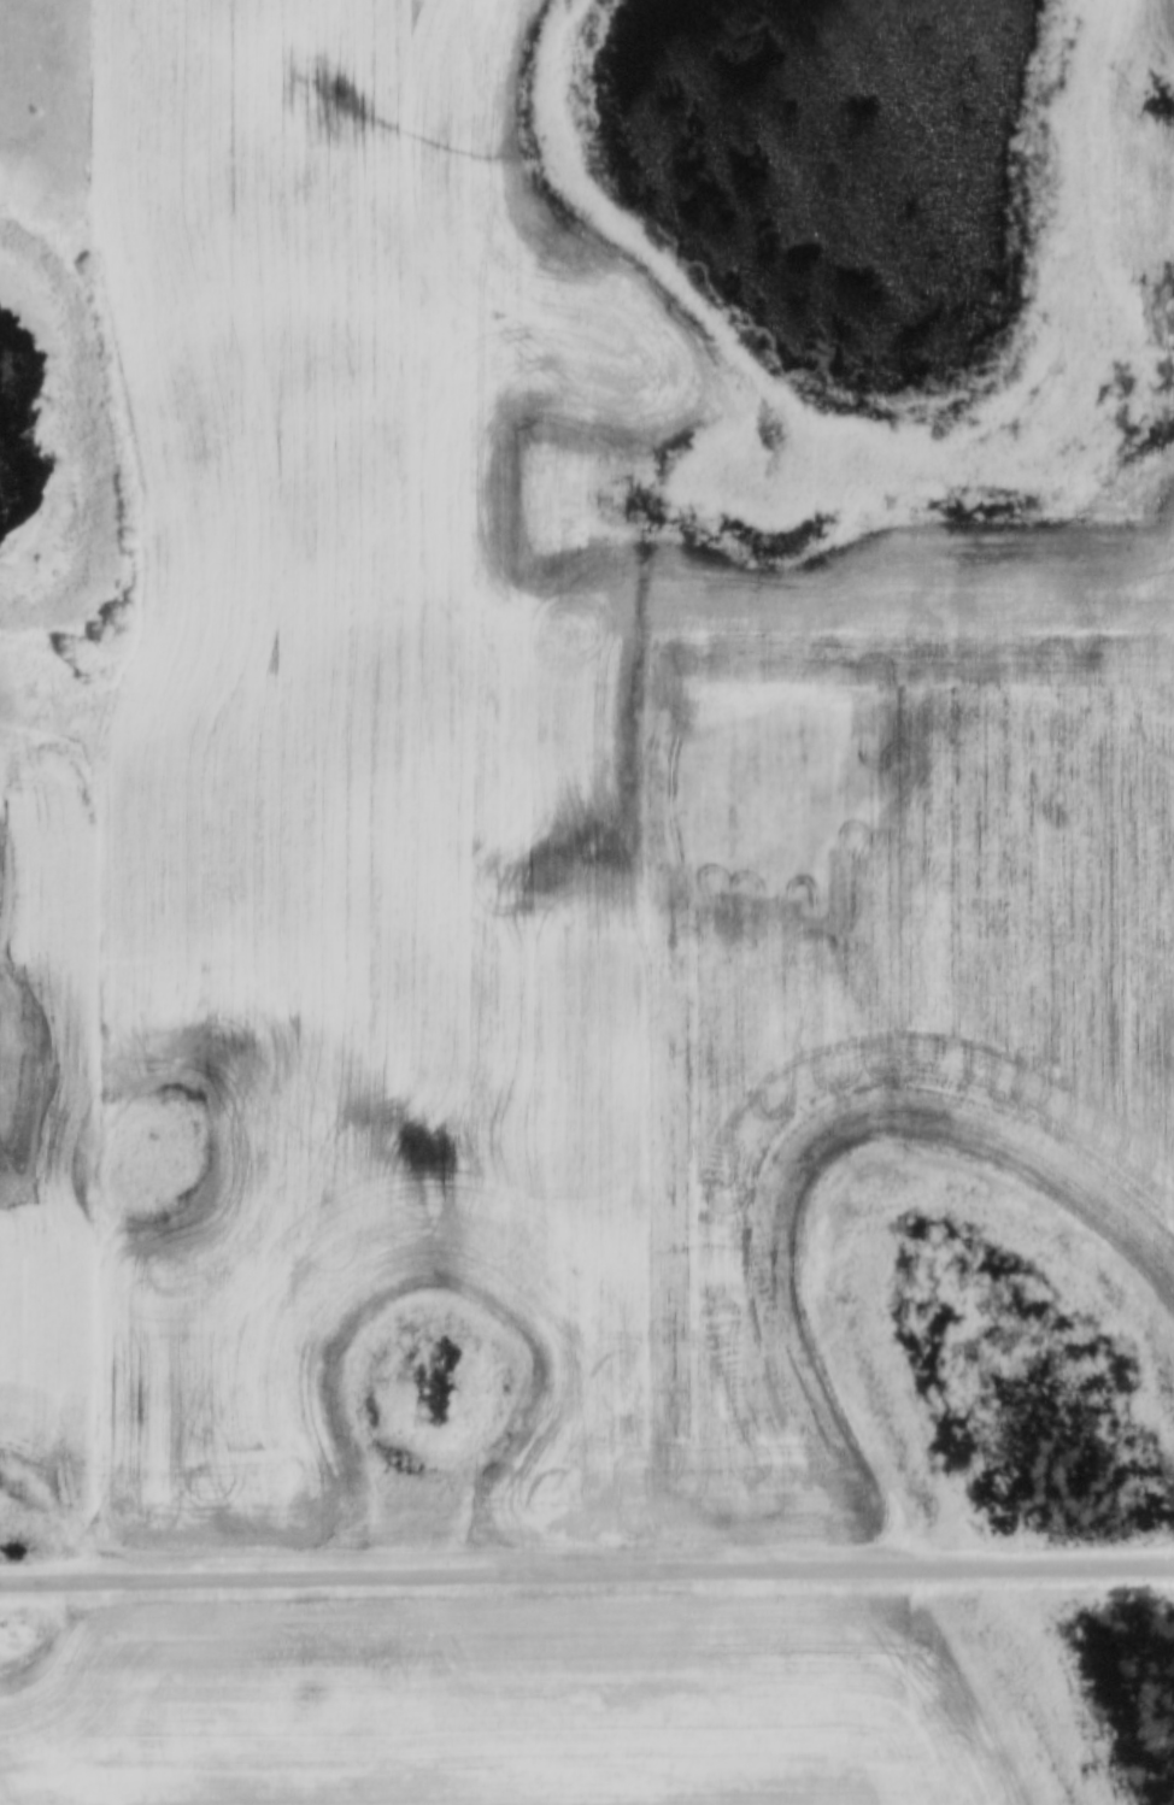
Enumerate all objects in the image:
road: (586, 1578)

